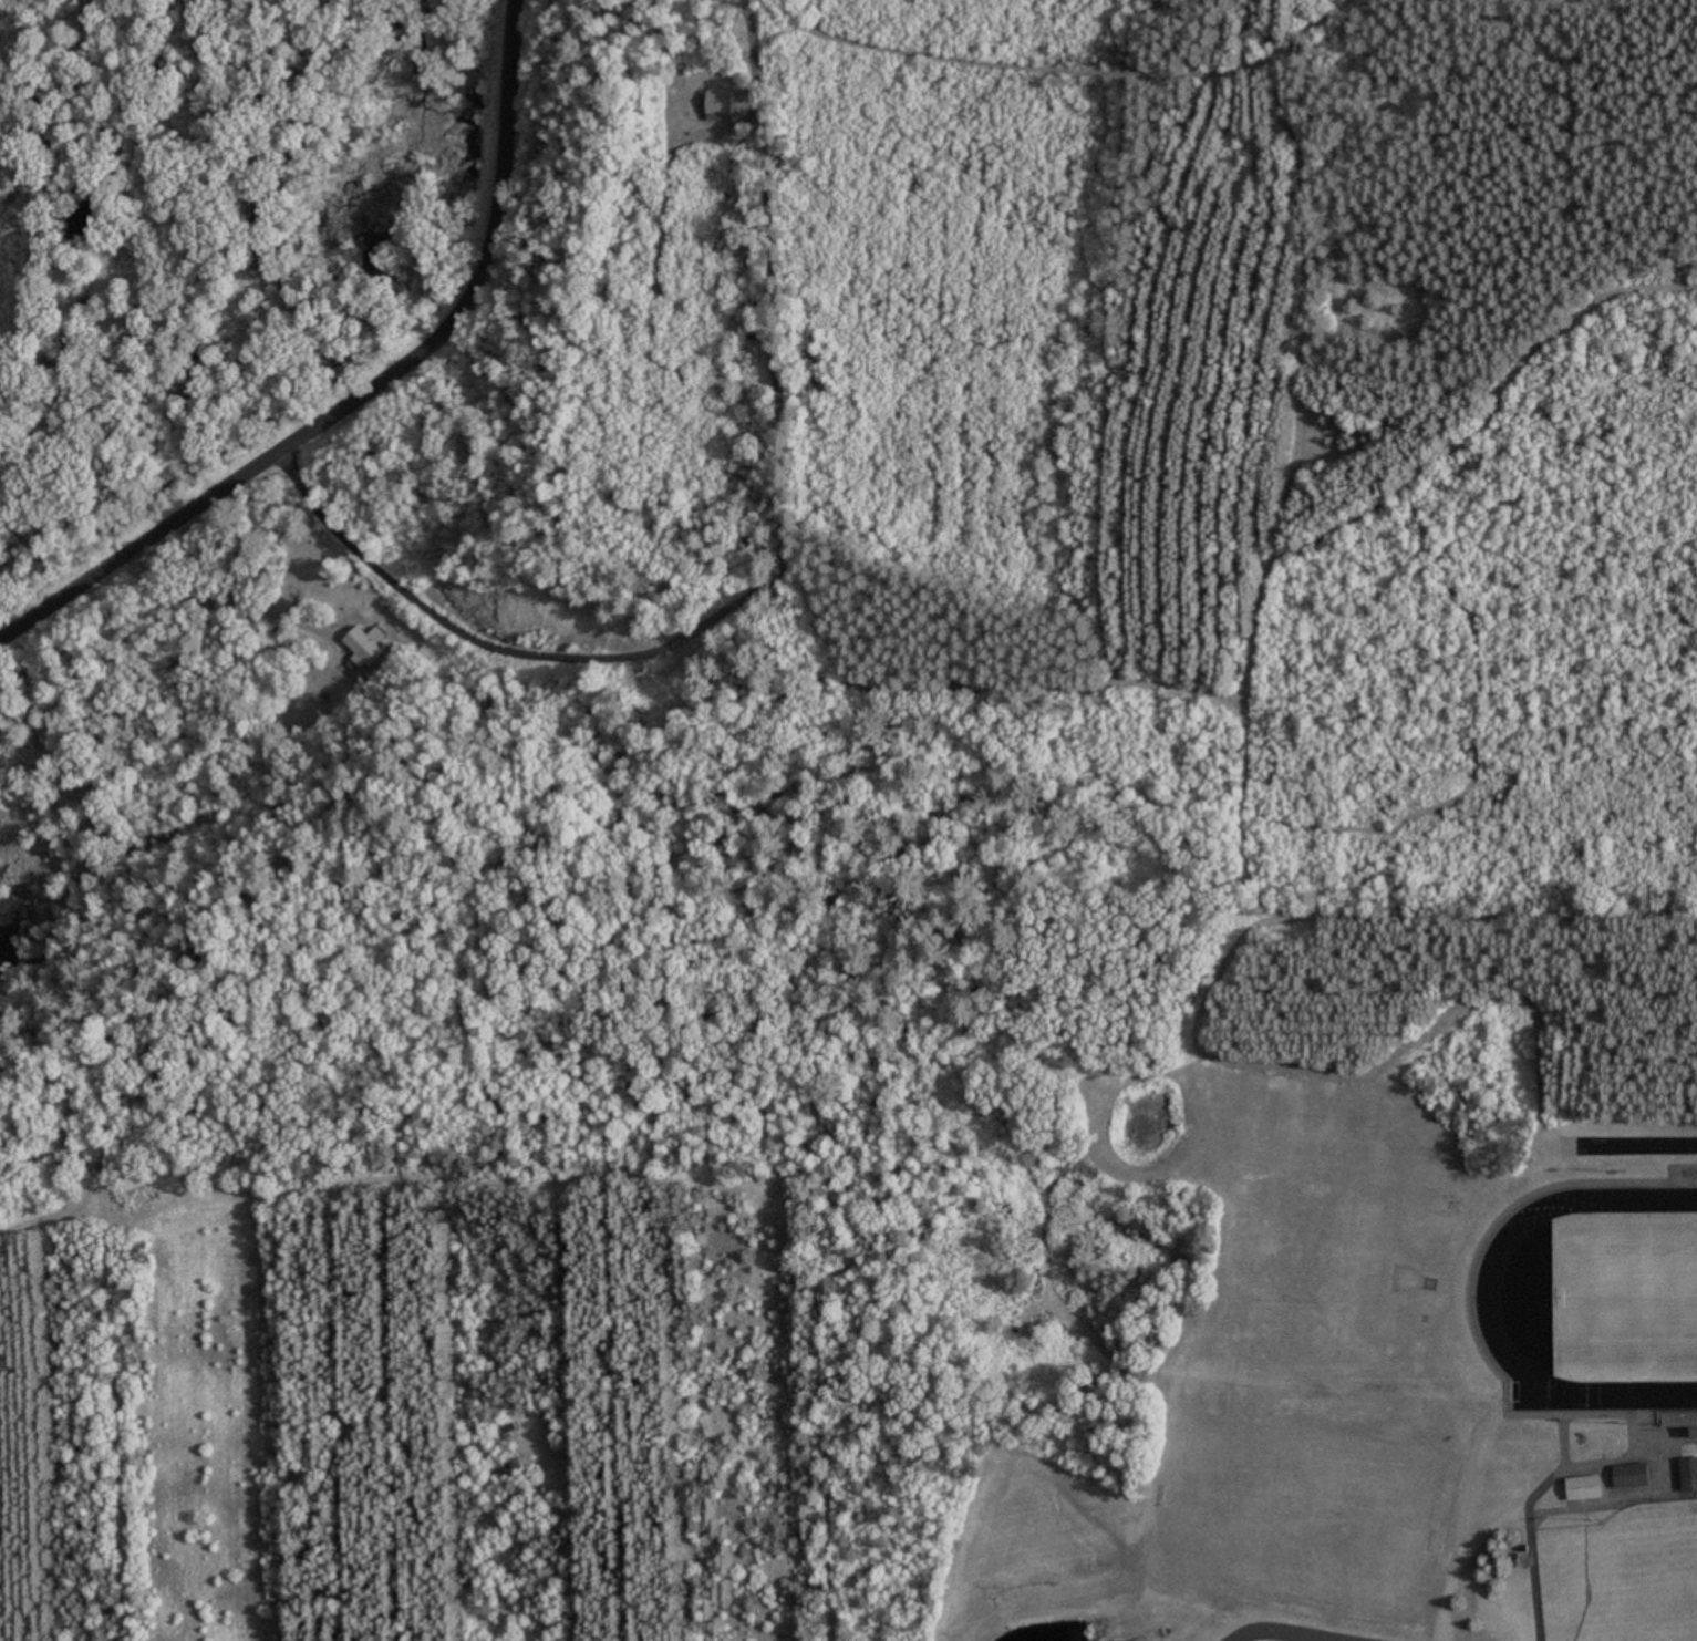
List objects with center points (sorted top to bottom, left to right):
road: (376, 391)
road: (768, 581)
building: (290, 592)
building: (363, 647)
road: (1315, 914)
track: (1589, 1309)
park: (1617, 1311)
road: (1534, 1428)
road: (1620, 1451)
building: (1688, 1476)
building: (1631, 1477)
building: (1617, 1488)
building: (1583, 1489)
building: (1570, 1498)
building: (1672, 1510)
park: (1616, 1583)
road: (1435, 1613)
road: (1276, 1635)

